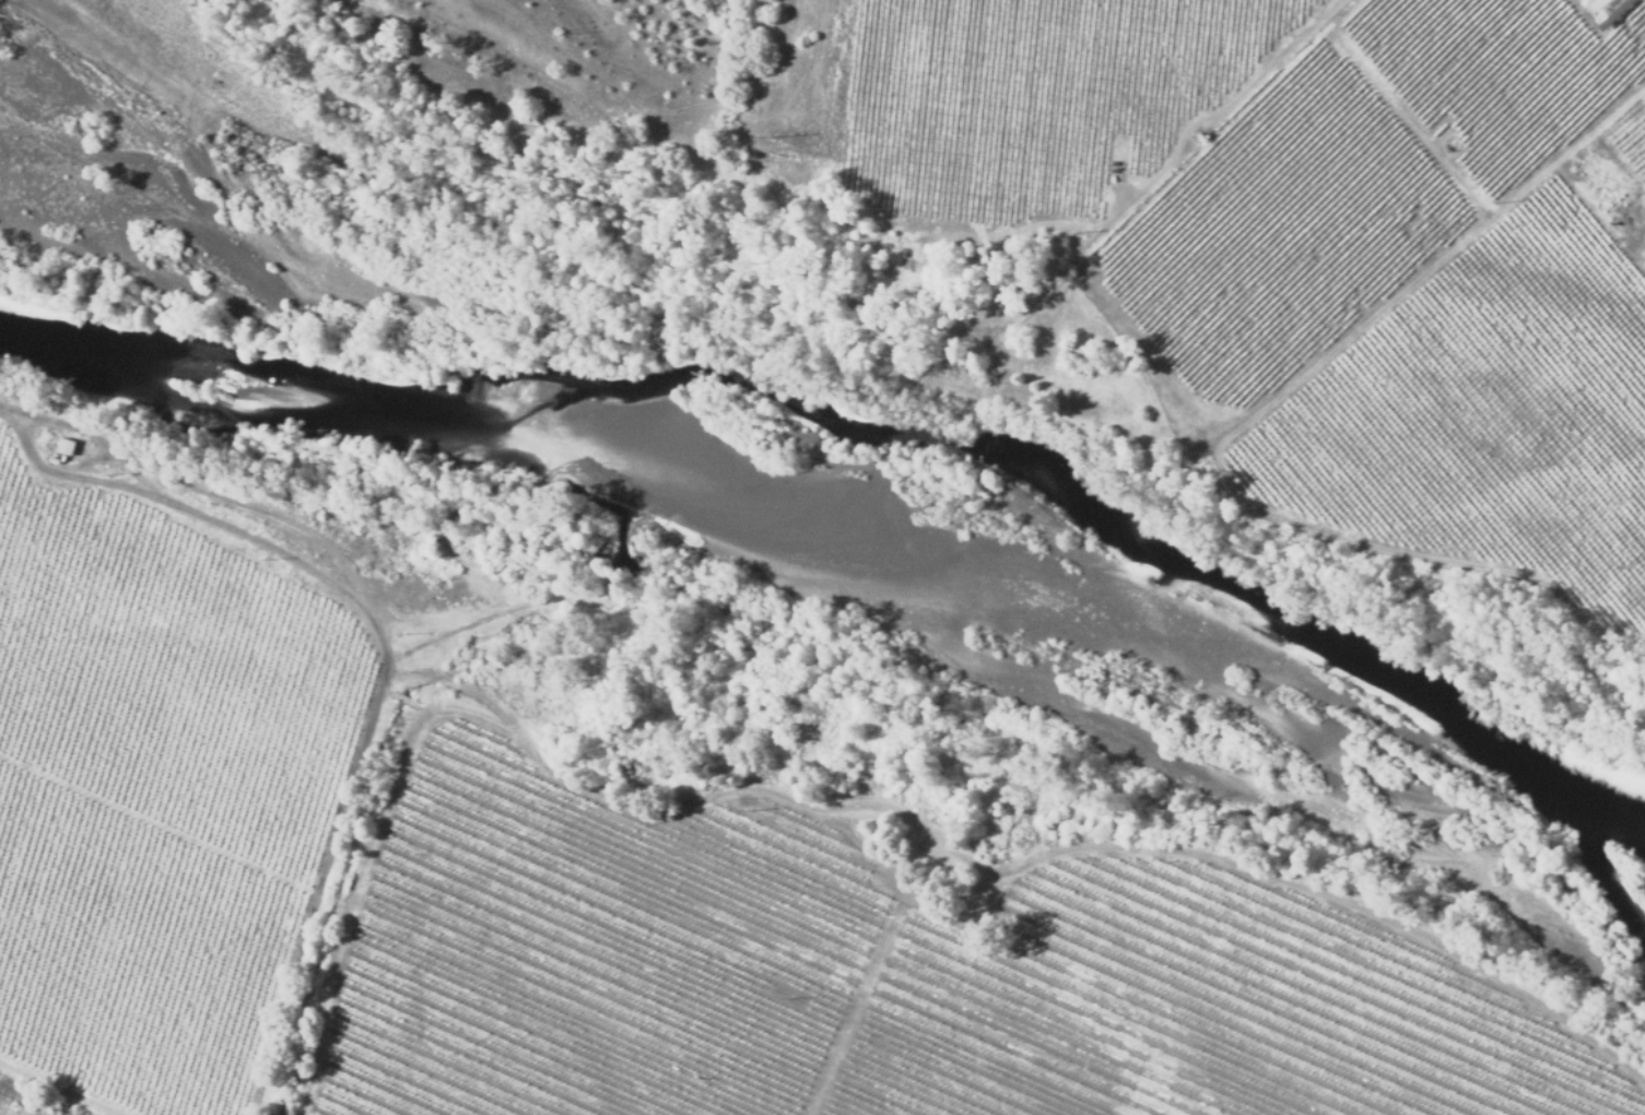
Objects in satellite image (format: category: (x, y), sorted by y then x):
road: (787, 95)
river: (904, 441)
road: (376, 653)
railway: (25, 1103)

